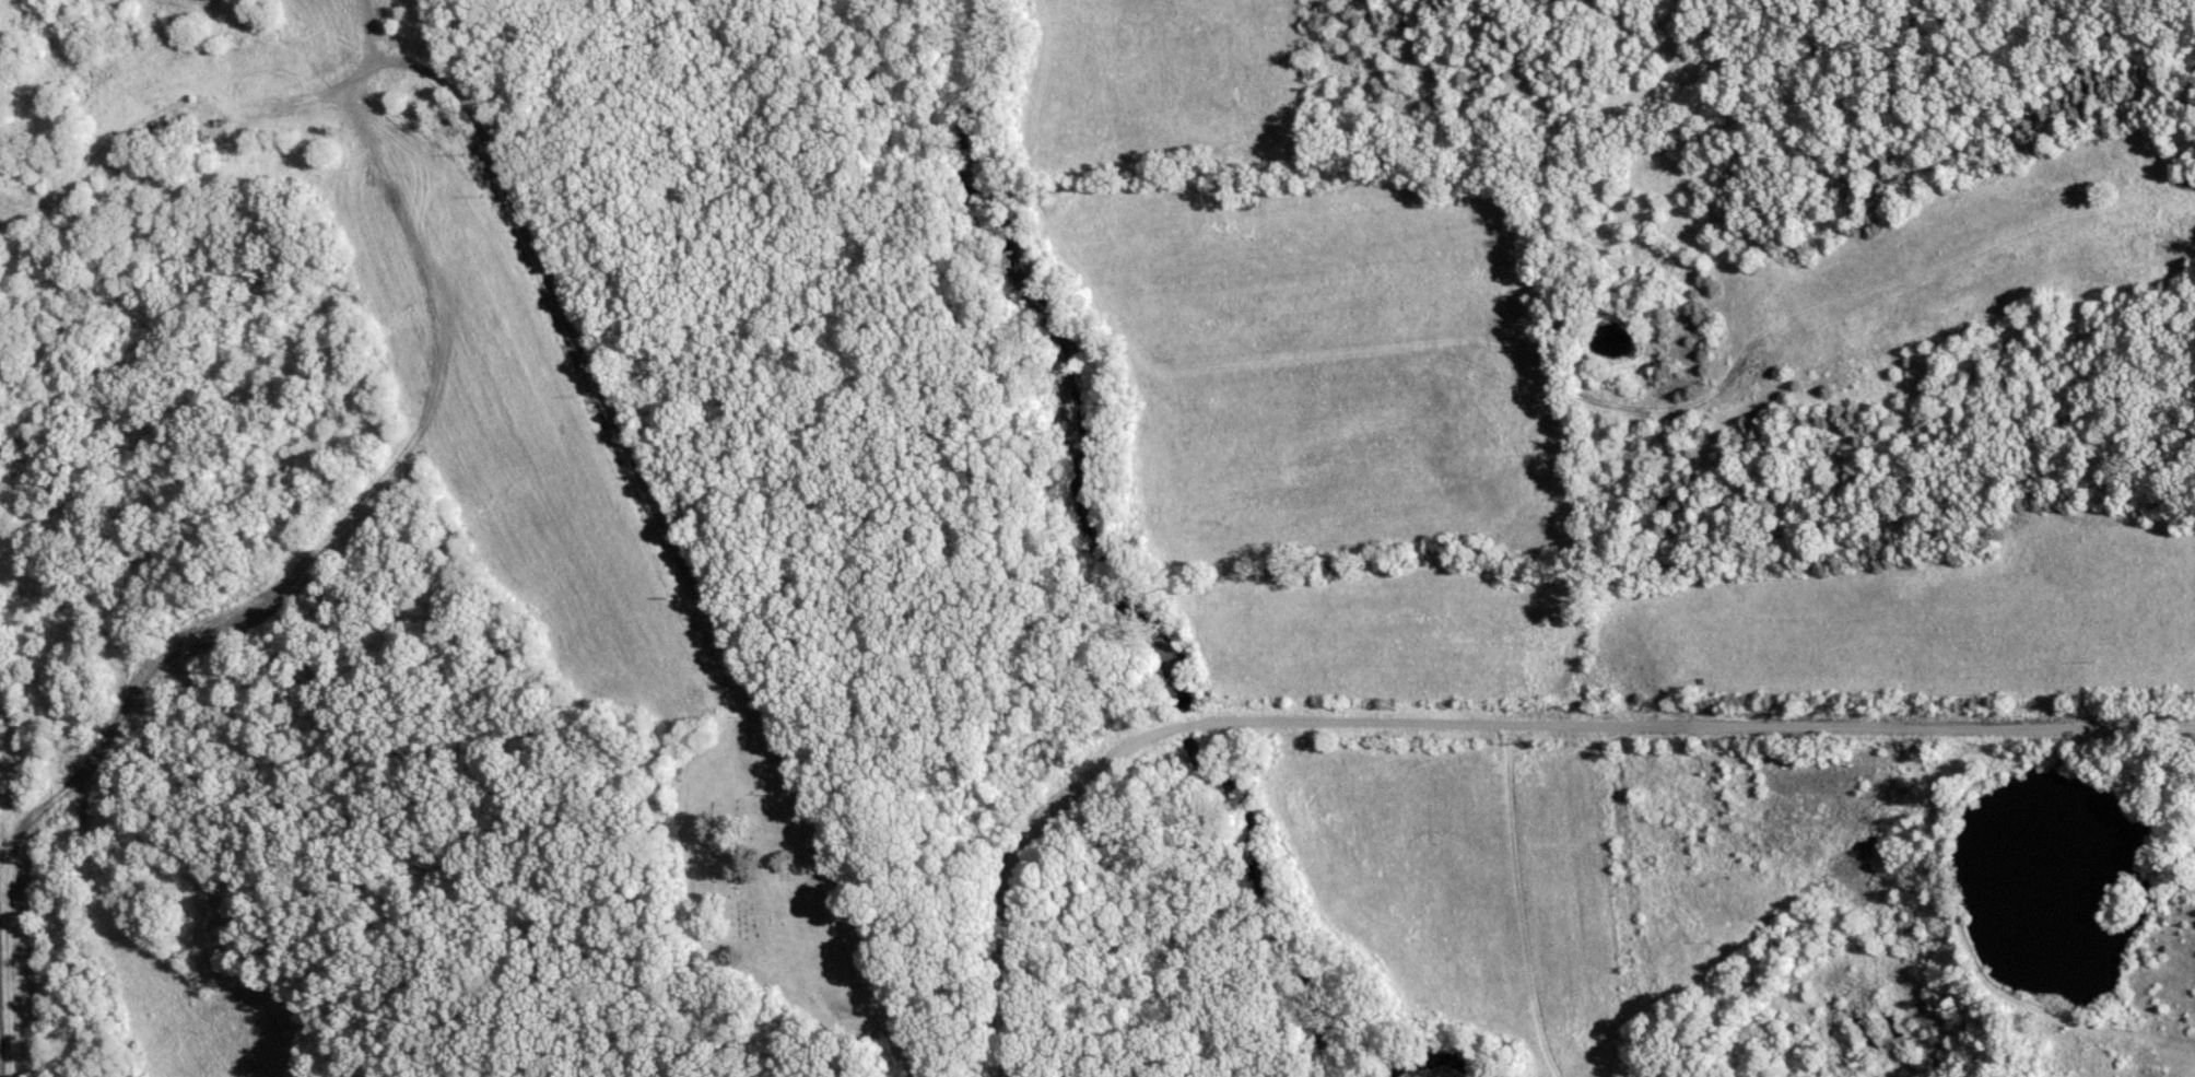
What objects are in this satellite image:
road: (701, 584)
road: (1465, 719)
park: (760, 883)

